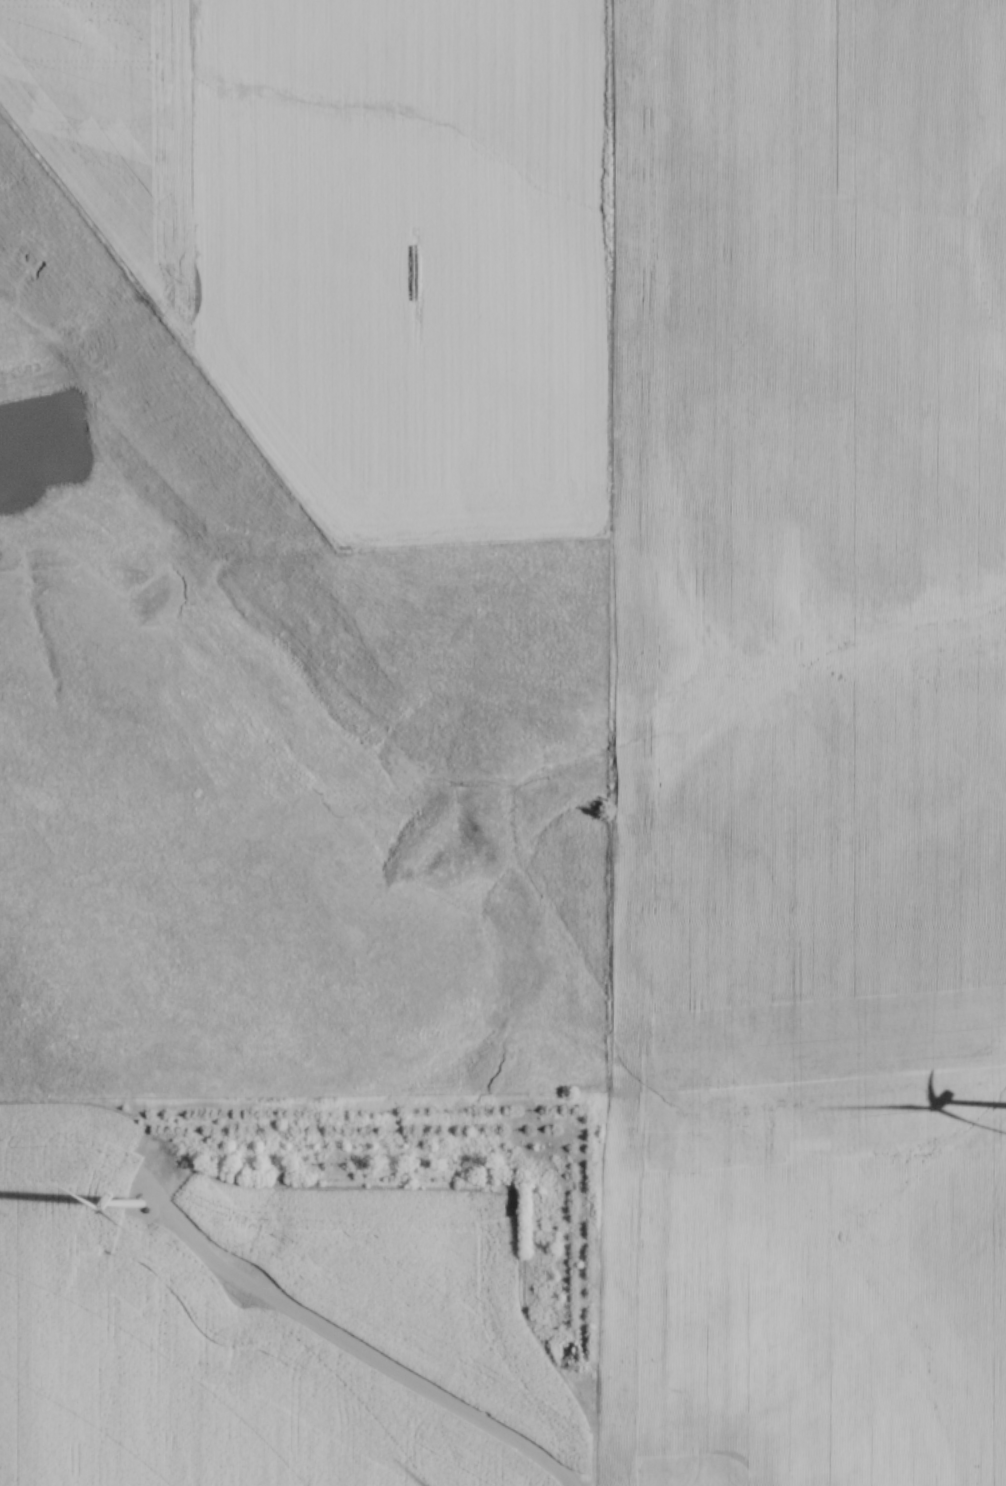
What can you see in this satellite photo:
wind turbine: (140, 1202)
road: (381, 1364)

